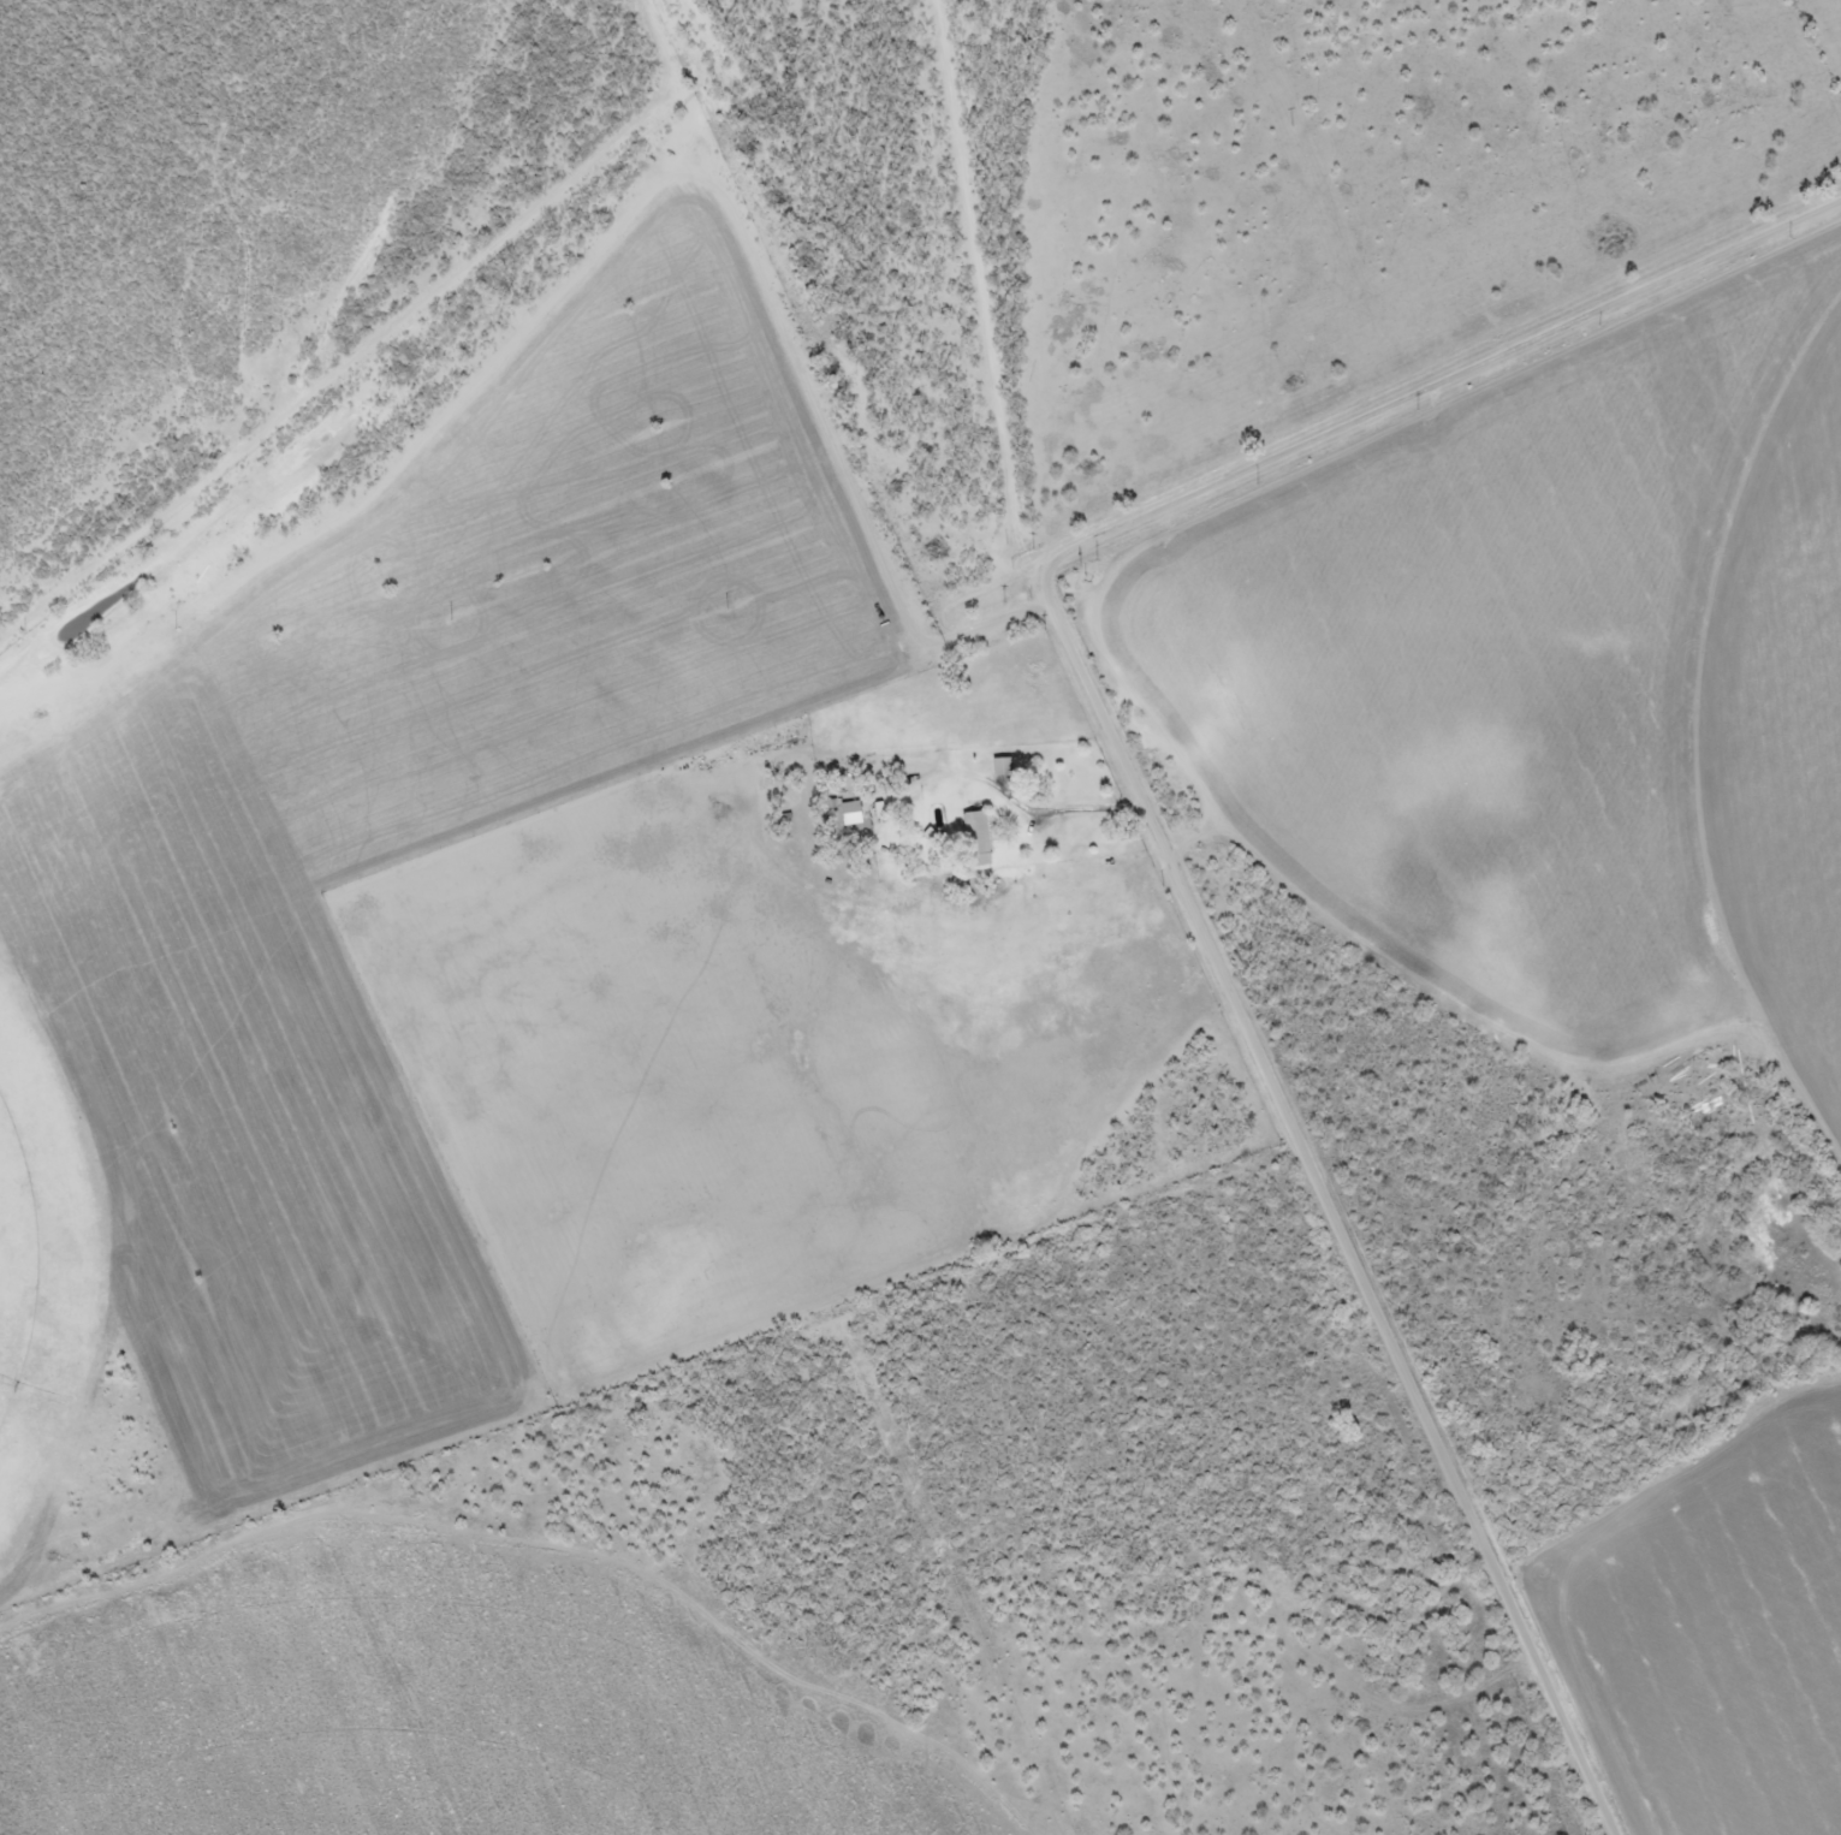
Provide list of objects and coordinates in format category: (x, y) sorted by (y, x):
road: (691, 105)
road: (1323, 434)
building: (999, 767)
building: (849, 814)
building: (975, 839)
road: (1383, 1323)
road: (127, 1762)

